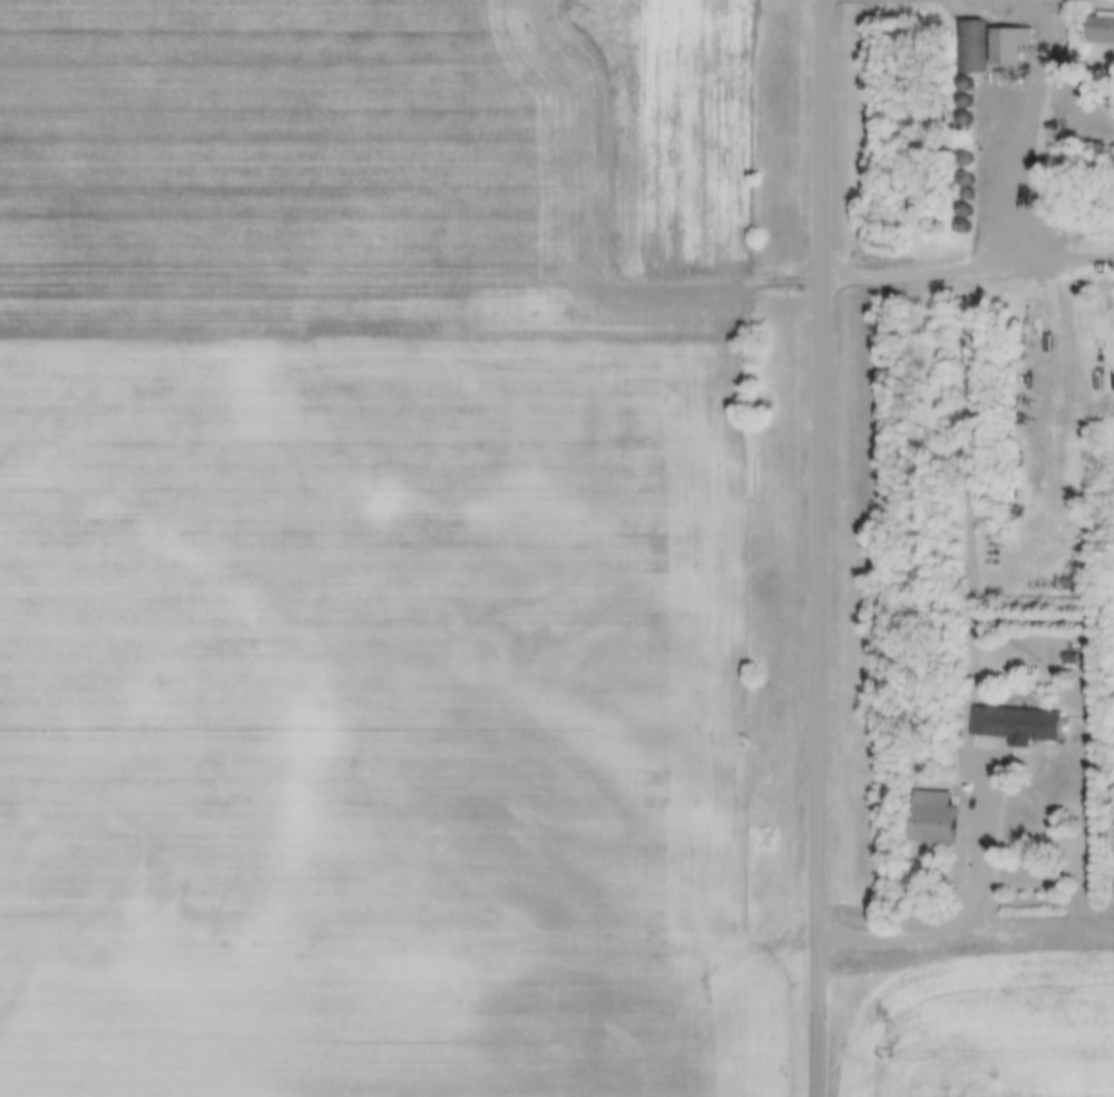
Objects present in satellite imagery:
building: (1102, 29)
building: (1010, 46)
building: (967, 47)
building: (964, 160)
building: (964, 182)
road: (966, 266)
road: (818, 548)
building: (1016, 724)
building: (936, 824)
road: (967, 915)

